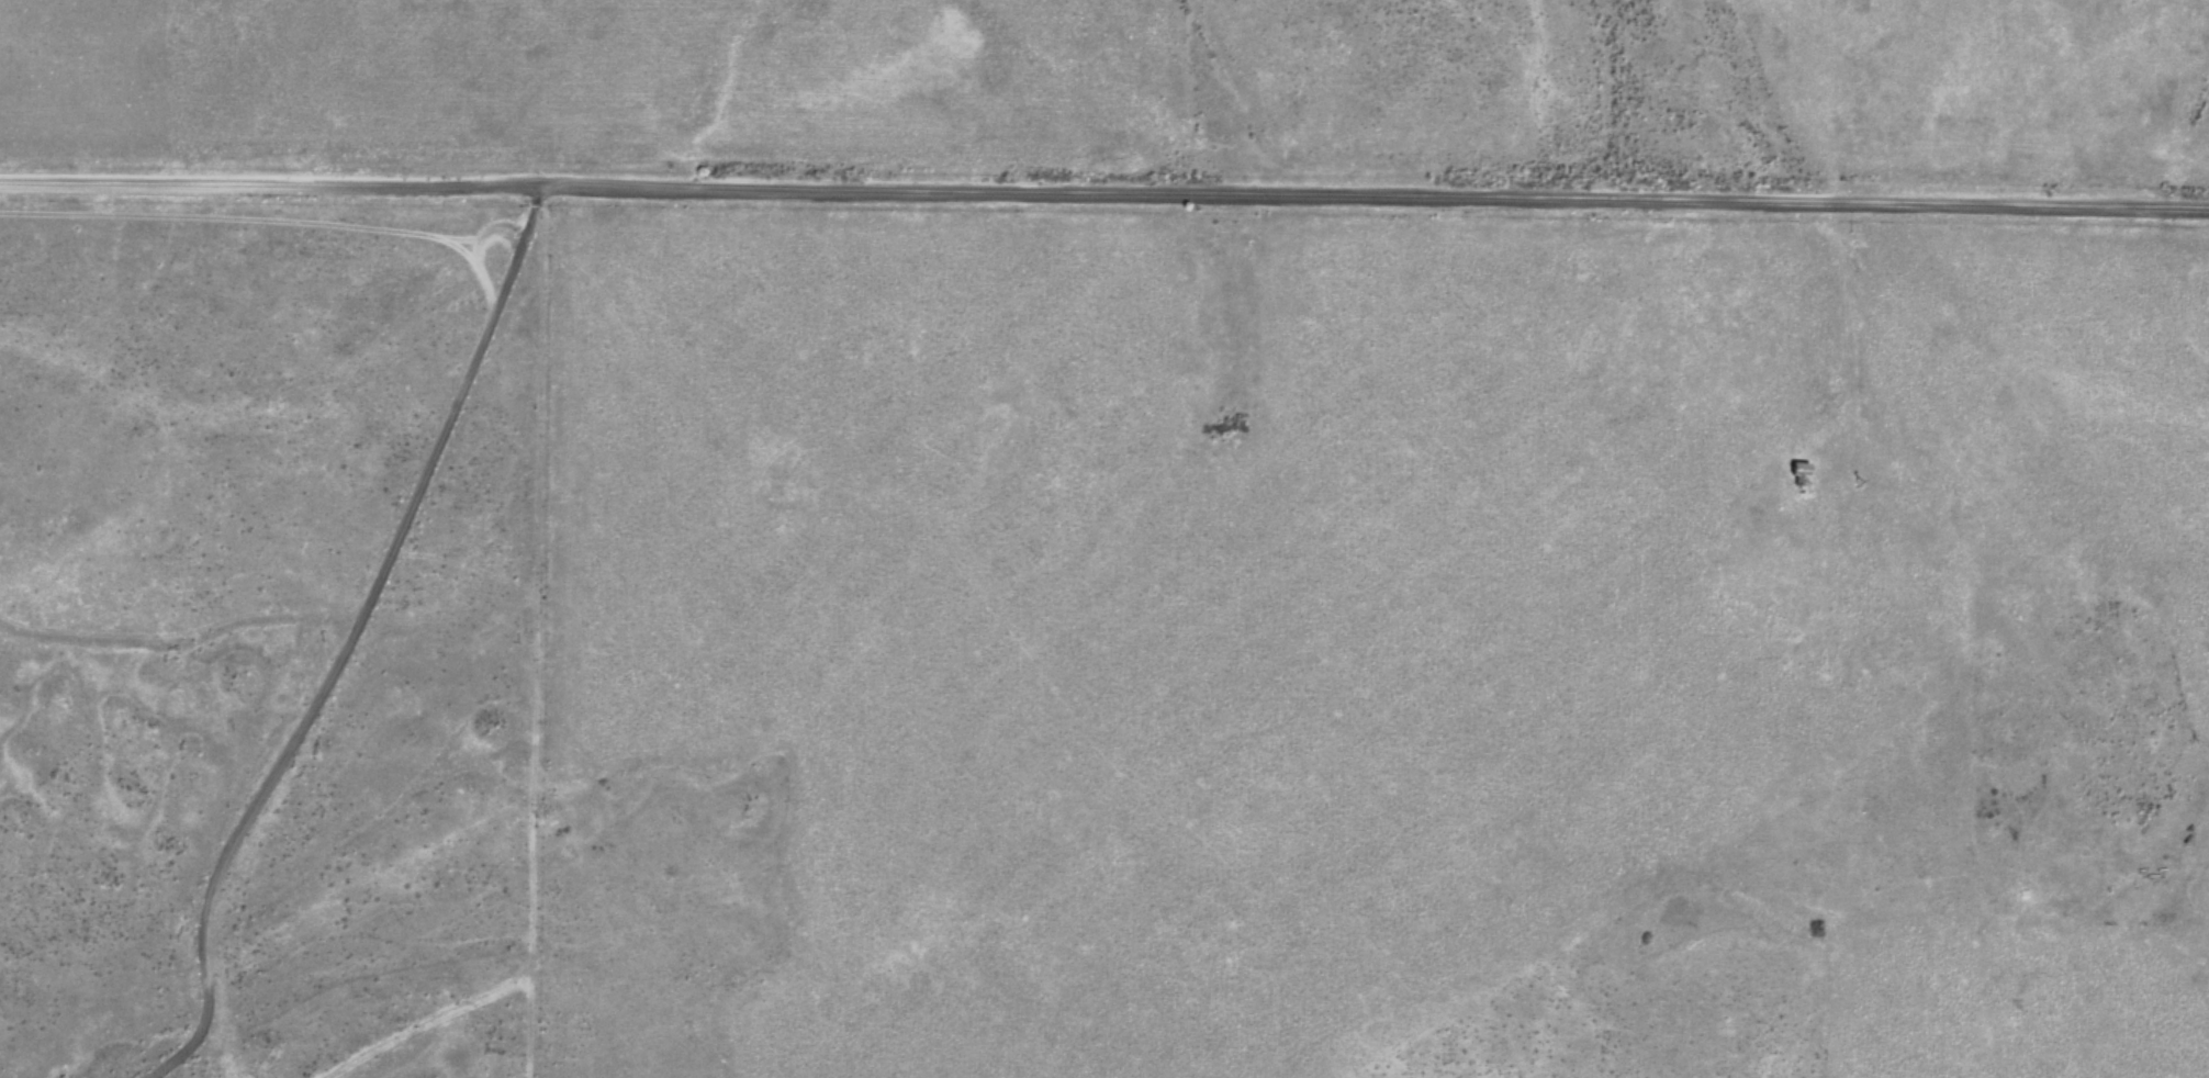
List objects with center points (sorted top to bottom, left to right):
road: (1104, 195)
road: (348, 643)

